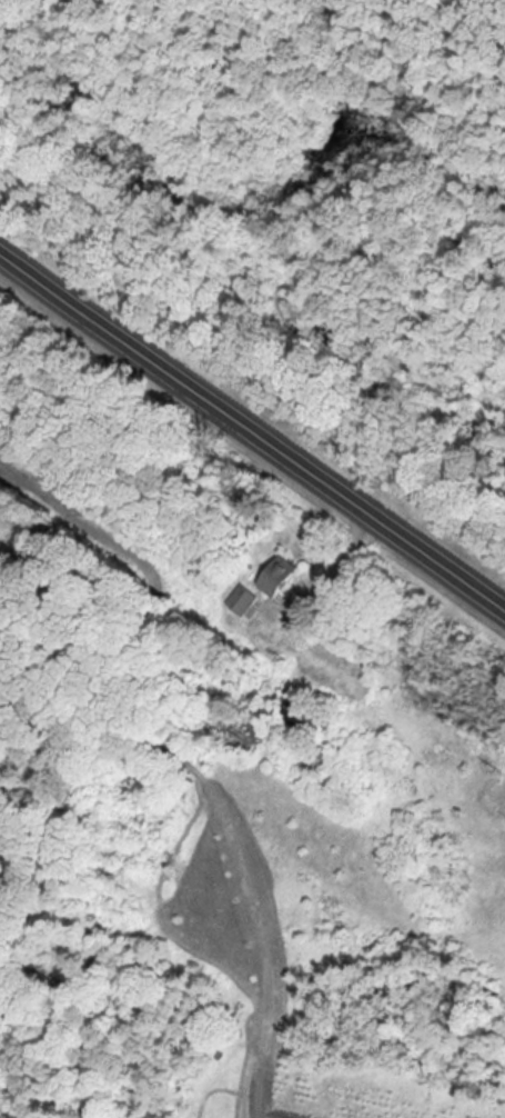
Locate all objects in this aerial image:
road: (251, 423)
building: (284, 579)
building: (244, 601)
building: (317, 722)

